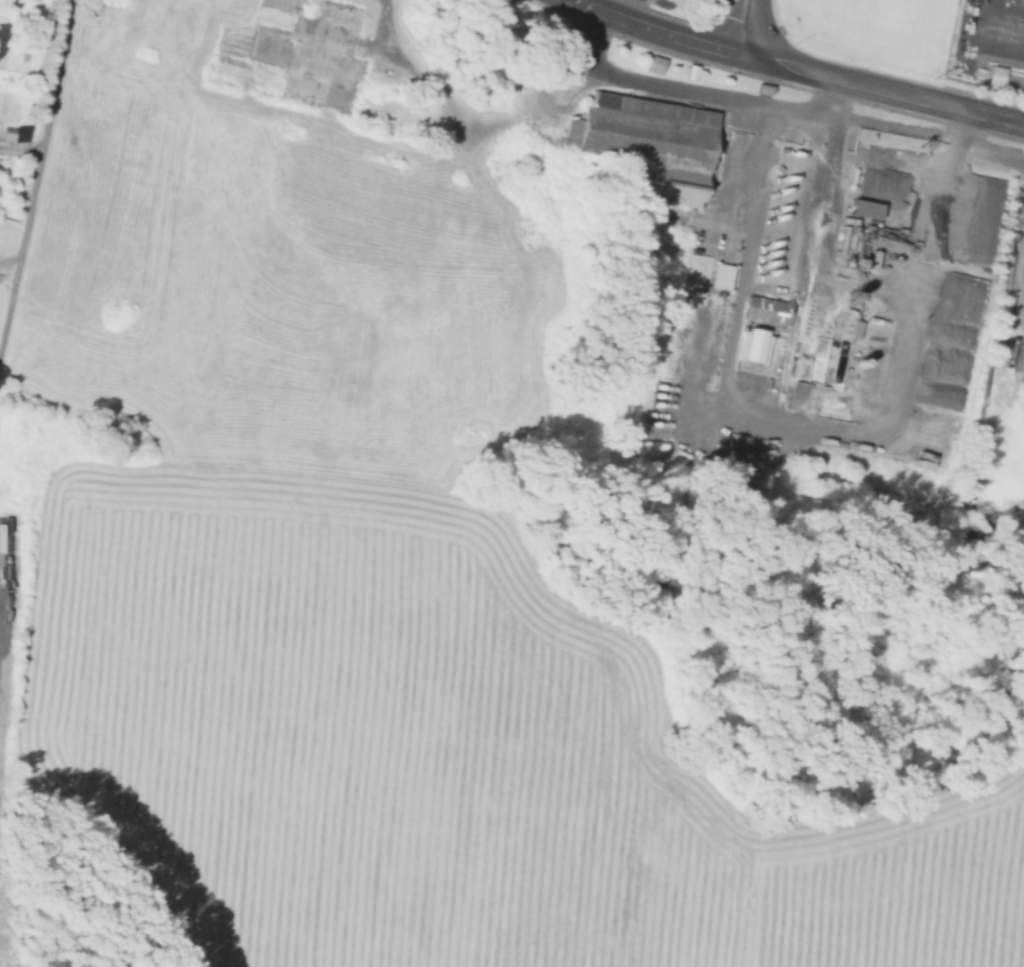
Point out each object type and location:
road: (618, 9)
road: (746, 27)
road: (657, 30)
building: (292, 54)
building: (653, 64)
building: (690, 72)
building: (743, 85)
road: (882, 90)
road: (839, 96)
road: (764, 98)
road: (462, 119)
building: (8, 135)
building: (645, 144)
road: (20, 147)
road: (991, 154)
road: (34, 174)
building: (863, 208)
building: (720, 277)
building: (766, 309)
road: (729, 342)
building: (797, 395)
crop: (519, 715)

